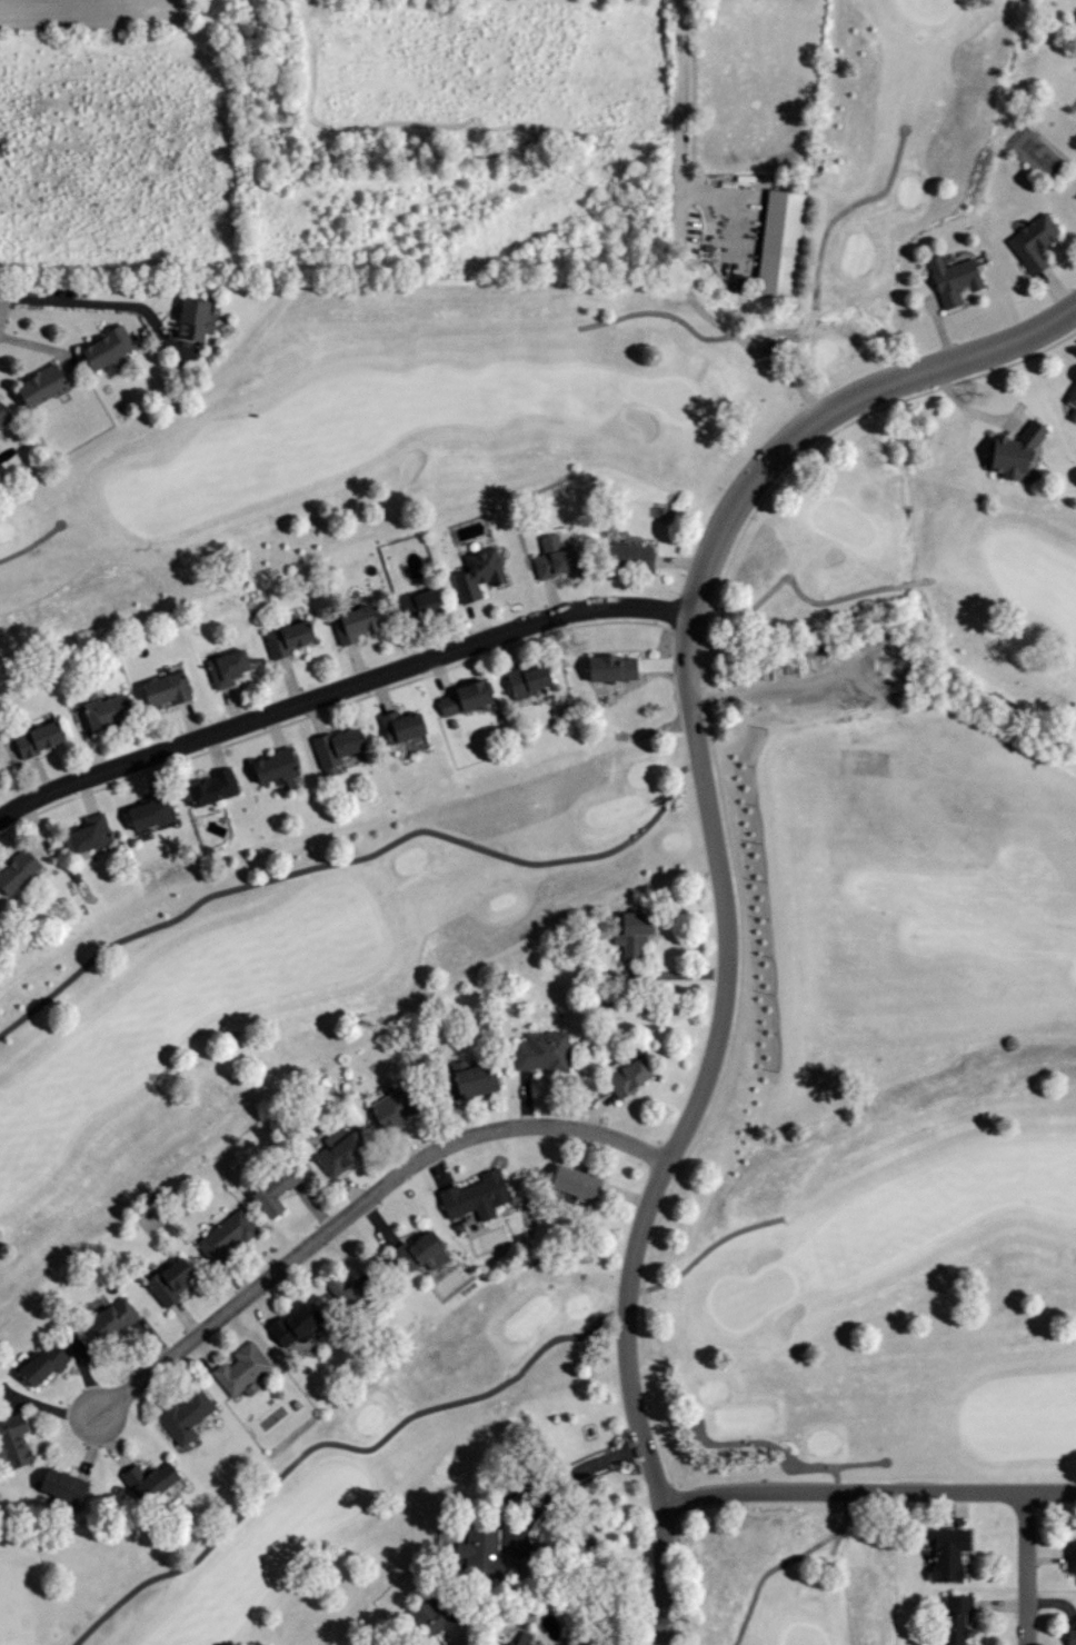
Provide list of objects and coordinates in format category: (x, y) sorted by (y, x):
road: (683, 98)
building: (1075, 195)
building: (1075, 196)
road: (733, 206)
building: (1030, 242)
building: (783, 245)
building: (952, 278)
road: (0, 297)
road: (103, 301)
building: (189, 316)
road: (801, 327)
building: (101, 347)
building: (37, 385)
building: (1070, 395)
building: (2, 419)
building: (1013, 448)
road: (31, 544)
building: (631, 554)
building: (559, 562)
building: (479, 572)
road: (797, 588)
building: (421, 604)
building: (356, 621)
building: (291, 636)
building: (231, 667)
building: (615, 668)
building: (531, 678)
building: (169, 689)
road: (340, 689)
building: (468, 699)
building: (110, 711)
building: (402, 726)
building: (41, 738)
building: (340, 744)
building: (277, 766)
building: (212, 787)
building: (151, 811)
building: (91, 836)
road: (540, 861)
building: (19, 873)
road: (719, 878)
building: (0, 910)
road: (168, 920)
park: (566, 926)
building: (629, 934)
building: (539, 1050)
building: (625, 1075)
building: (468, 1076)
building: (388, 1108)
building: (336, 1151)
building: (570, 1184)
building: (273, 1187)
building: (471, 1195)
road: (358, 1206)
building: (226, 1235)
building: (416, 1253)
building: (167, 1279)
building: (349, 1287)
building: (109, 1317)
building: (291, 1322)
road: (581, 1333)
building: (37, 1364)
building: (238, 1367)
building: (182, 1414)
building: (12, 1442)
road: (768, 1447)
road: (859, 1466)
building: (147, 1479)
building: (57, 1485)
road: (868, 1492)
road: (545, 1499)
road: (836, 1541)
building: (940, 1553)
building: (1069, 1557)
building: (482, 1558)
road: (778, 1564)
road: (1027, 1568)
building: (952, 1618)
building: (429, 1624)
building: (1068, 1636)
building: (520, 1637)
building: (498, 1643)

